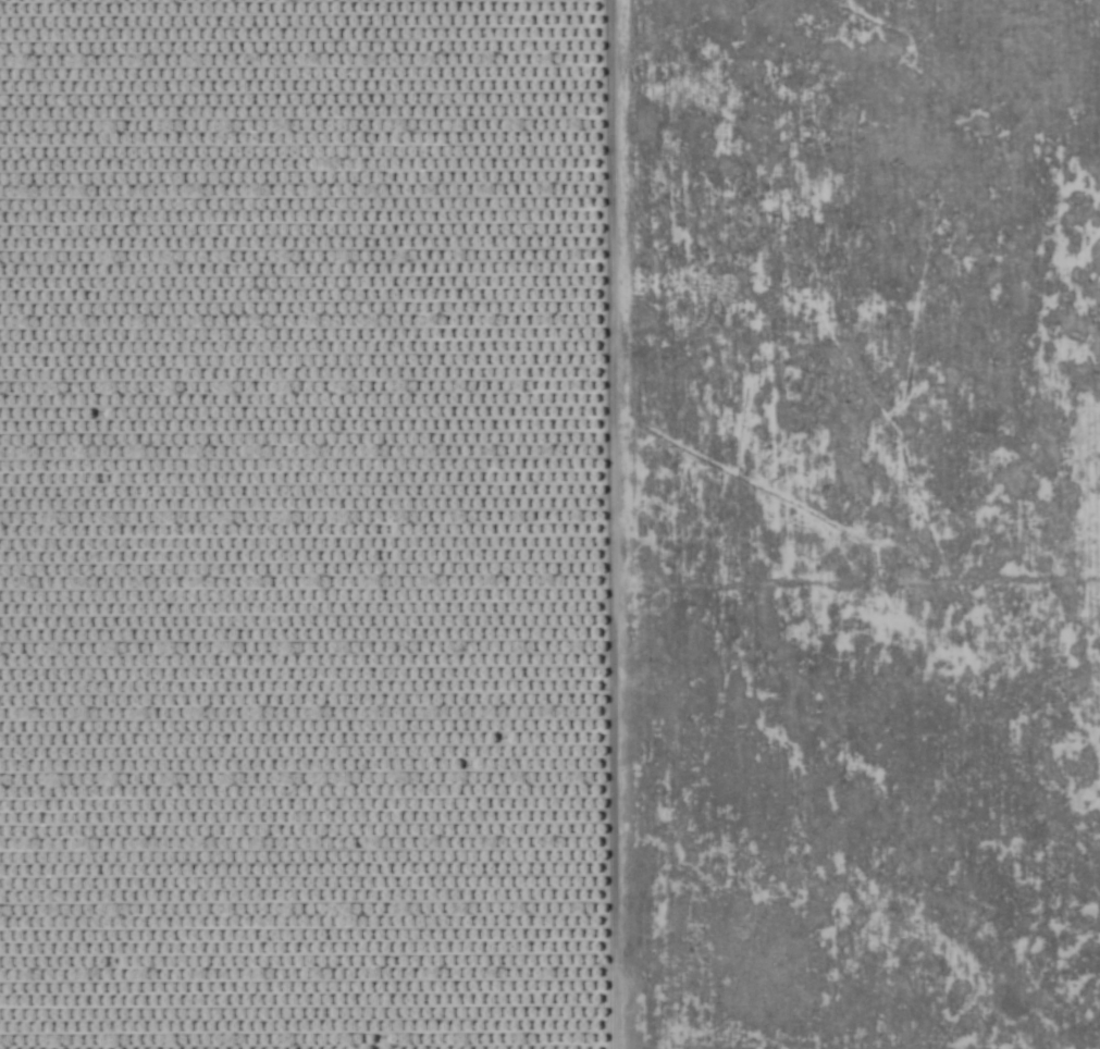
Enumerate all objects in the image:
crop: (306, 523)

